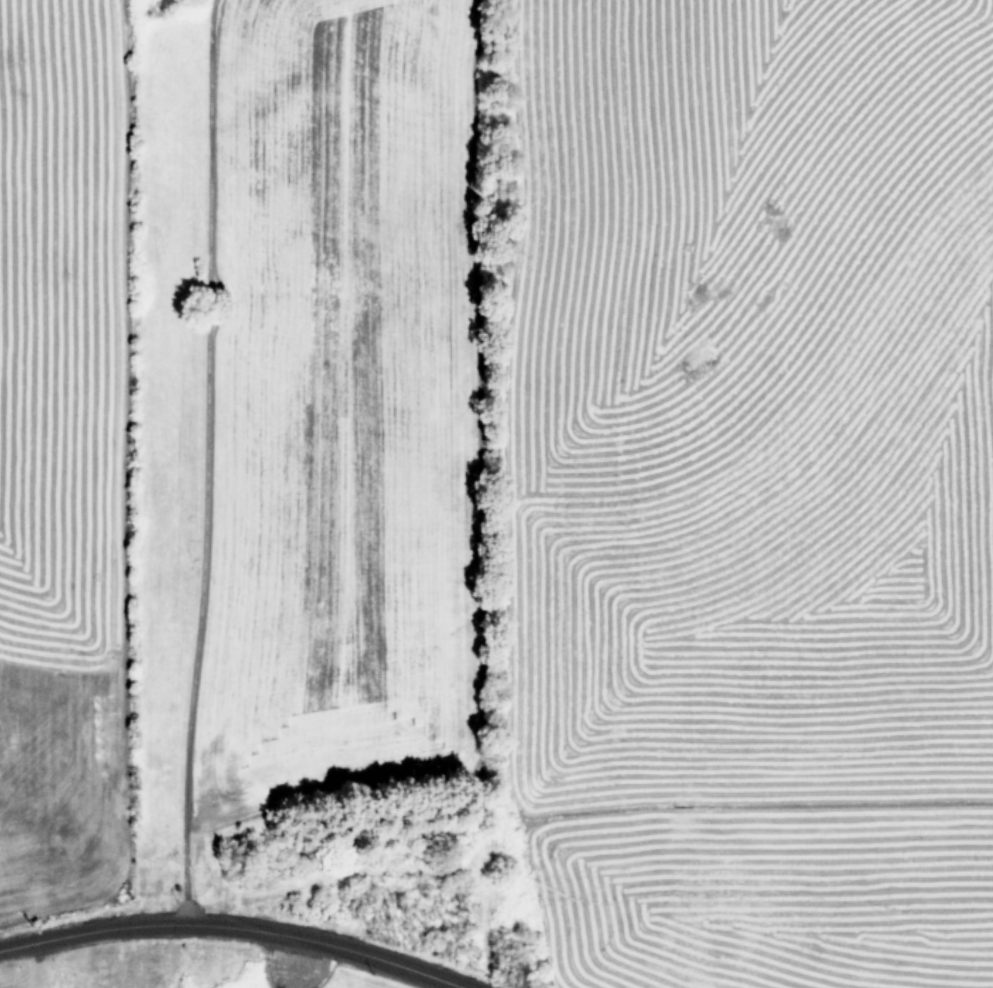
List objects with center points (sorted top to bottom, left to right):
road: (205, 467)
crop: (508, 473)
road: (225, 929)

